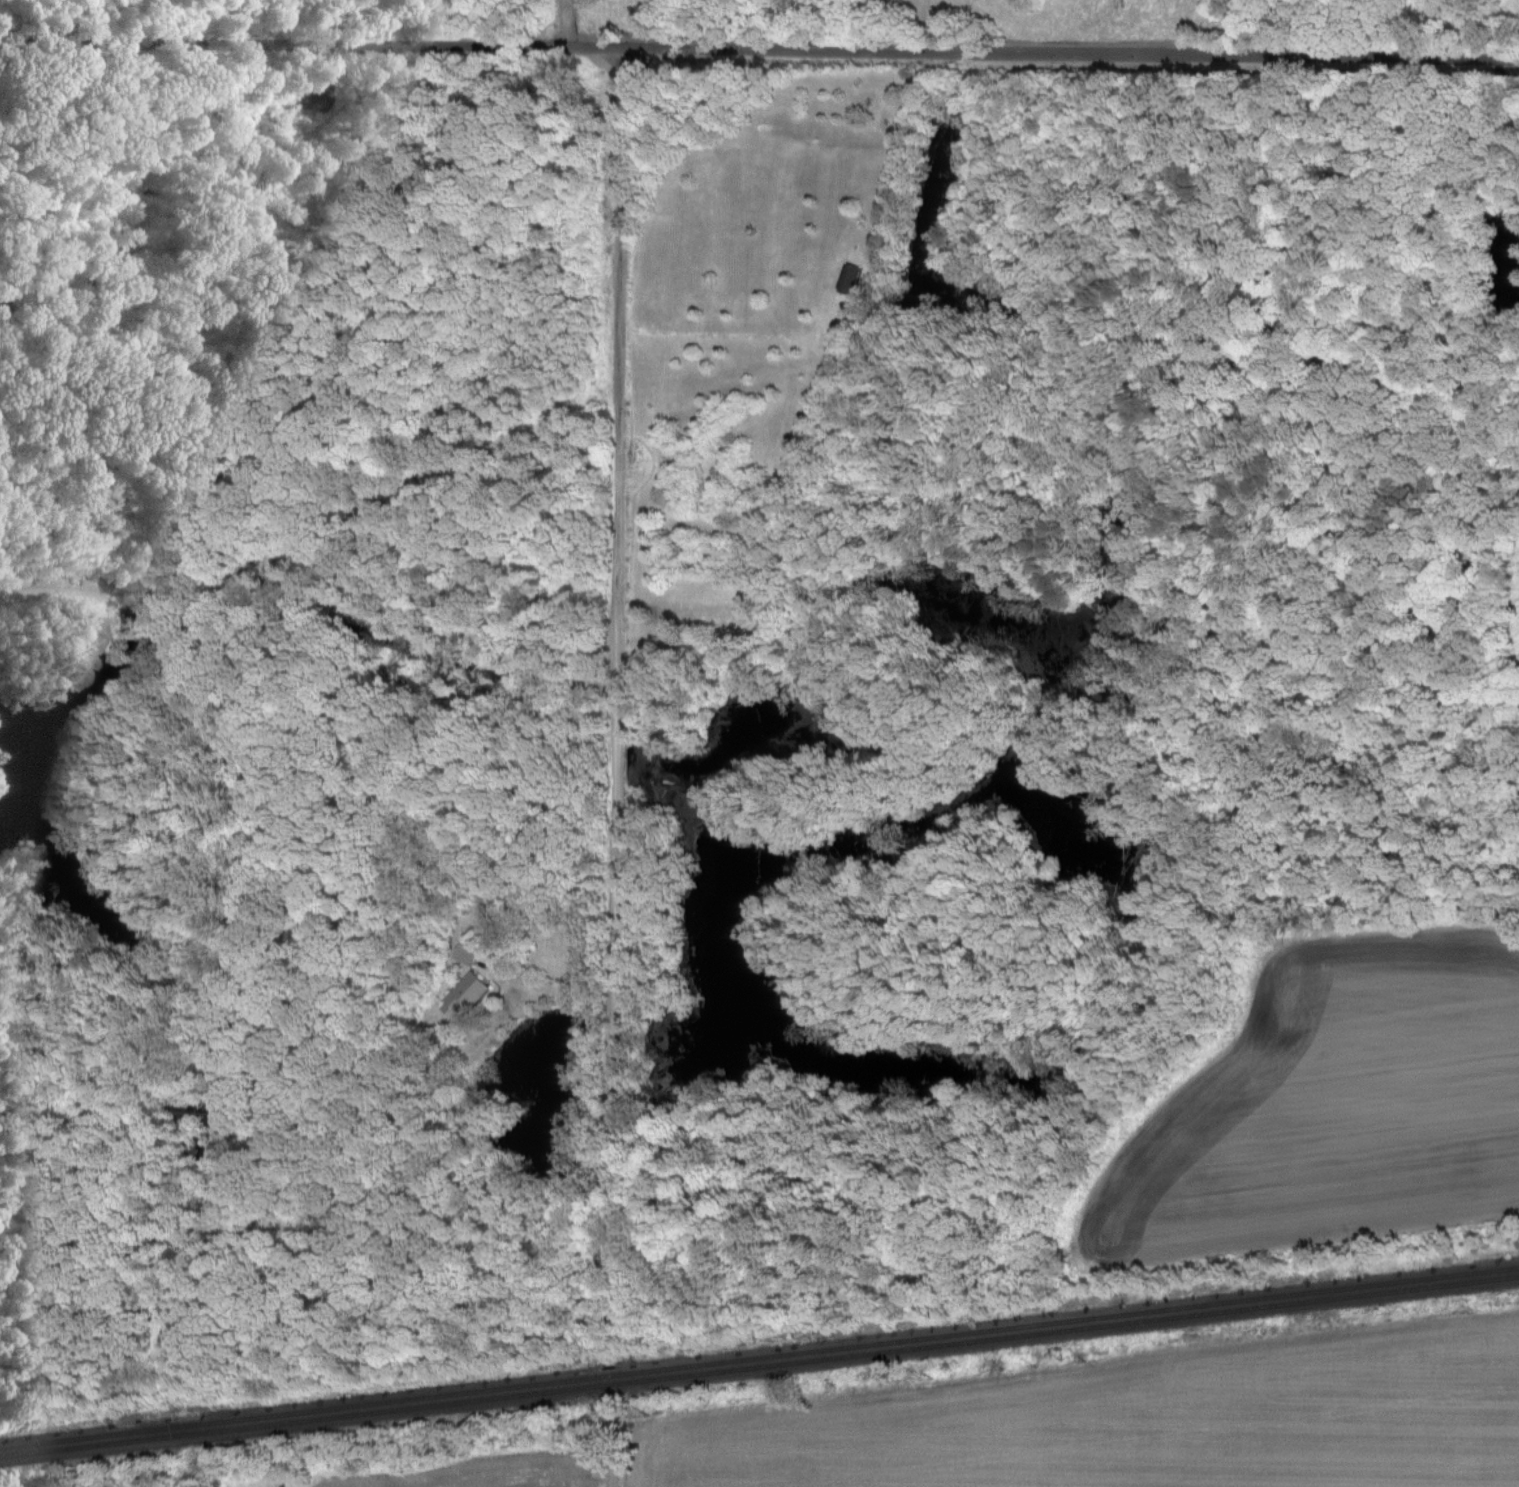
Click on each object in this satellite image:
road: (565, 23)
road: (759, 48)
building: (850, 277)
road: (314, 599)
road: (617, 706)
road: (550, 989)
building: (463, 994)
railway: (759, 1356)
railway: (759, 1365)
road: (612, 1446)

